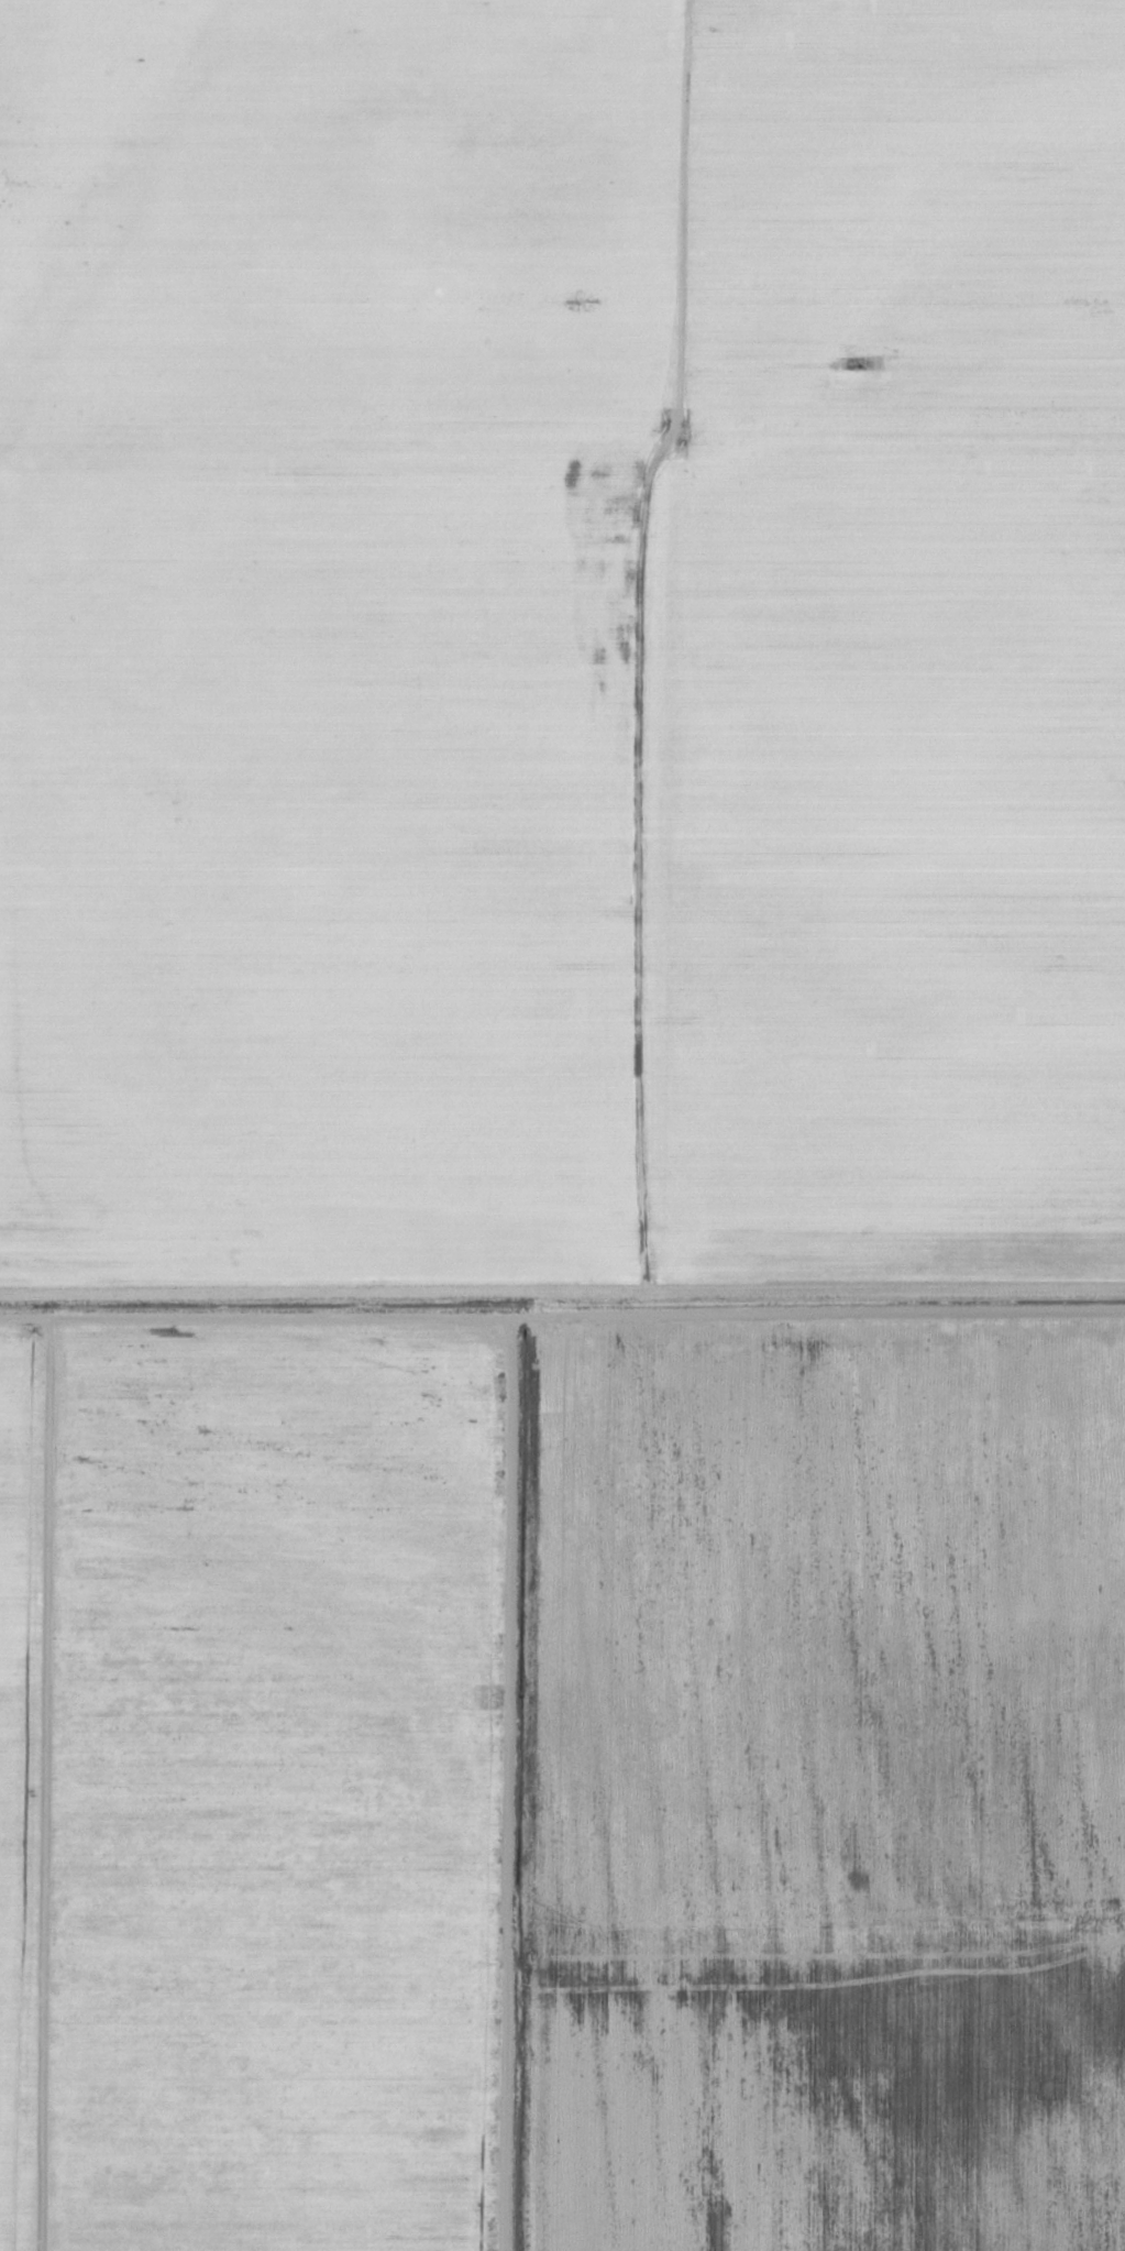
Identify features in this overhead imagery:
road: (562, 435)
road: (668, 663)
road: (562, 1327)
road: (40, 1782)

